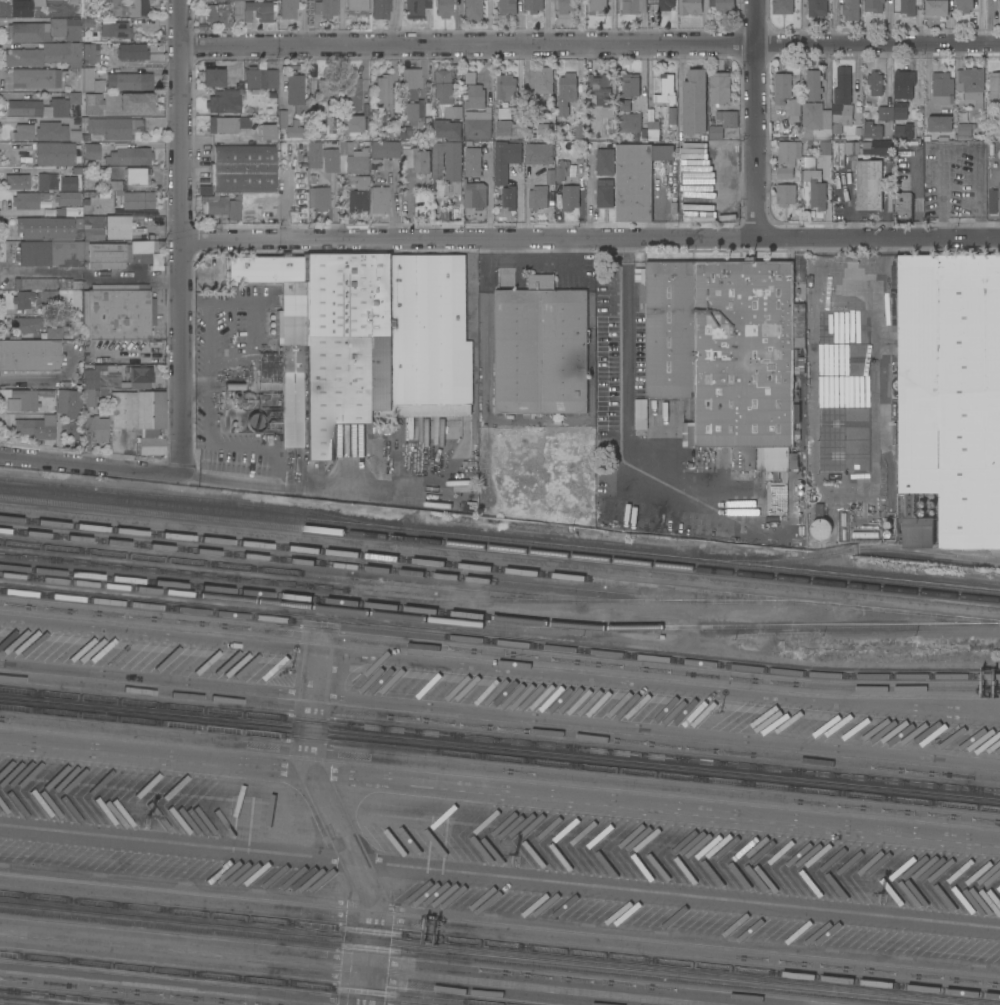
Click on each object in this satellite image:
building: (221, 0)
building: (37, 2)
building: (999, 4)
building: (356, 5)
building: (534, 5)
building: (666, 5)
building: (723, 5)
building: (873, 5)
building: (964, 5)
building: (566, 6)
building: (597, 6)
building: (633, 6)
building: (782, 6)
building: (134, 7)
building: (415, 7)
building: (508, 7)
building: (689, 7)
building: (909, 7)
building: (937, 7)
building: (21, 8)
building: (286, 8)
building: (326, 8)
building: (443, 8)
building: (817, 8)
building: (380, 9)
building: (850, 9)
building: (259, 10)
building: (473, 10)
building: (238, 12)
building: (217, 14)
building: (86, 25)
building: (116, 29)
building: (44, 30)
road: (878, 43)
road: (469, 45)
building: (132, 51)
building: (89, 53)
building: (37, 54)
building: (75, 54)
building: (213, 76)
building: (471, 76)
building: (36, 78)
building: (260, 78)
building: (543, 79)
building: (90, 80)
building: (129, 81)
building: (411, 82)
building: (875, 83)
building: (904, 83)
building: (600, 84)
building: (444, 85)
building: (631, 85)
building: (814, 85)
building: (843, 85)
building: (971, 85)
building: (994, 85)
building: (507, 87)
building: (720, 87)
building: (782, 87)
building: (942, 87)
building: (294, 88)
building: (327, 88)
building: (384, 90)
building: (667, 91)
building: (352, 92)
building: (570, 92)
building: (475, 96)
building: (74, 97)
building: (135, 101)
building: (224, 101)
building: (695, 101)
building: (91, 104)
building: (624, 105)
building: (59, 106)
building: (25, 107)
building: (794, 109)
building: (410, 111)
building: (893, 111)
building: (454, 112)
building: (504, 112)
building: (842, 114)
road: (756, 119)
building: (282, 122)
building: (354, 122)
building: (629, 122)
building: (816, 122)
building: (228, 123)
building: (478, 123)
building: (723, 123)
building: (940, 123)
building: (114, 126)
building: (446, 128)
building: (509, 129)
building: (544, 129)
building: (872, 129)
building: (964, 129)
building: (23, 130)
building: (51, 130)
building: (653, 130)
building: (904, 131)
building: (267, 132)
building: (78, 136)
building: (825, 148)
building: (92, 150)
building: (383, 152)
building: (538, 152)
building: (56, 153)
building: (314, 154)
building: (130, 156)
building: (787, 157)
building: (351, 158)
building: (329, 159)
building: (416, 159)
building: (504, 160)
building: (472, 161)
building: (606, 161)
building: (809, 161)
building: (244, 167)
building: (448, 167)
building: (561, 170)
building: (860, 172)
building: (550, 176)
building: (131, 178)
building: (637, 179)
building: (47, 180)
building: (17, 181)
building: (68, 184)
building: (817, 189)
building: (358, 193)
building: (606, 193)
building: (475, 194)
building: (786, 194)
building: (321, 197)
building: (509, 197)
building: (537, 197)
building: (68, 198)
building: (380, 198)
building: (570, 198)
building: (28, 199)
building: (137, 199)
building: (903, 199)
building: (990, 200)
road: (588, 204)
building: (221, 205)
building: (61, 226)
building: (117, 226)
road: (182, 235)
road: (590, 238)
building: (116, 252)
building: (60, 253)
building: (35, 283)
building: (49, 297)
building: (23, 299)
building: (118, 311)
road: (255, 322)
building: (26, 324)
building: (228, 324)
building: (54, 333)
building: (430, 337)
building: (328, 340)
building: (541, 348)
building: (30, 354)
building: (727, 356)
road: (64, 374)
road: (207, 376)
building: (113, 379)
building: (234, 385)
building: (270, 385)
road: (620, 386)
building: (950, 396)
building: (23, 397)
building: (247, 400)
building: (73, 403)
building: (123, 409)
building: (641, 410)
building: (151, 420)
building: (255, 421)
building: (96, 426)
building: (35, 427)
building: (606, 438)
road: (89, 464)
road: (275, 484)
railway: (201, 499)
building: (613, 511)
building: (650, 515)
building: (821, 528)
building: (865, 534)
railway: (499, 540)
railway: (500, 549)
railway: (329, 565)
railway: (499, 570)
railway: (283, 571)
railway: (402, 595)
railway: (292, 597)
railway: (498, 625)
railway: (499, 641)
road: (378, 660)
road: (878, 708)
railway: (499, 740)
railway: (499, 758)
road: (332, 829)
railway: (499, 944)
railway: (457, 956)
railway: (247, 979)
railway: (71, 997)
railway: (12, 1003)

